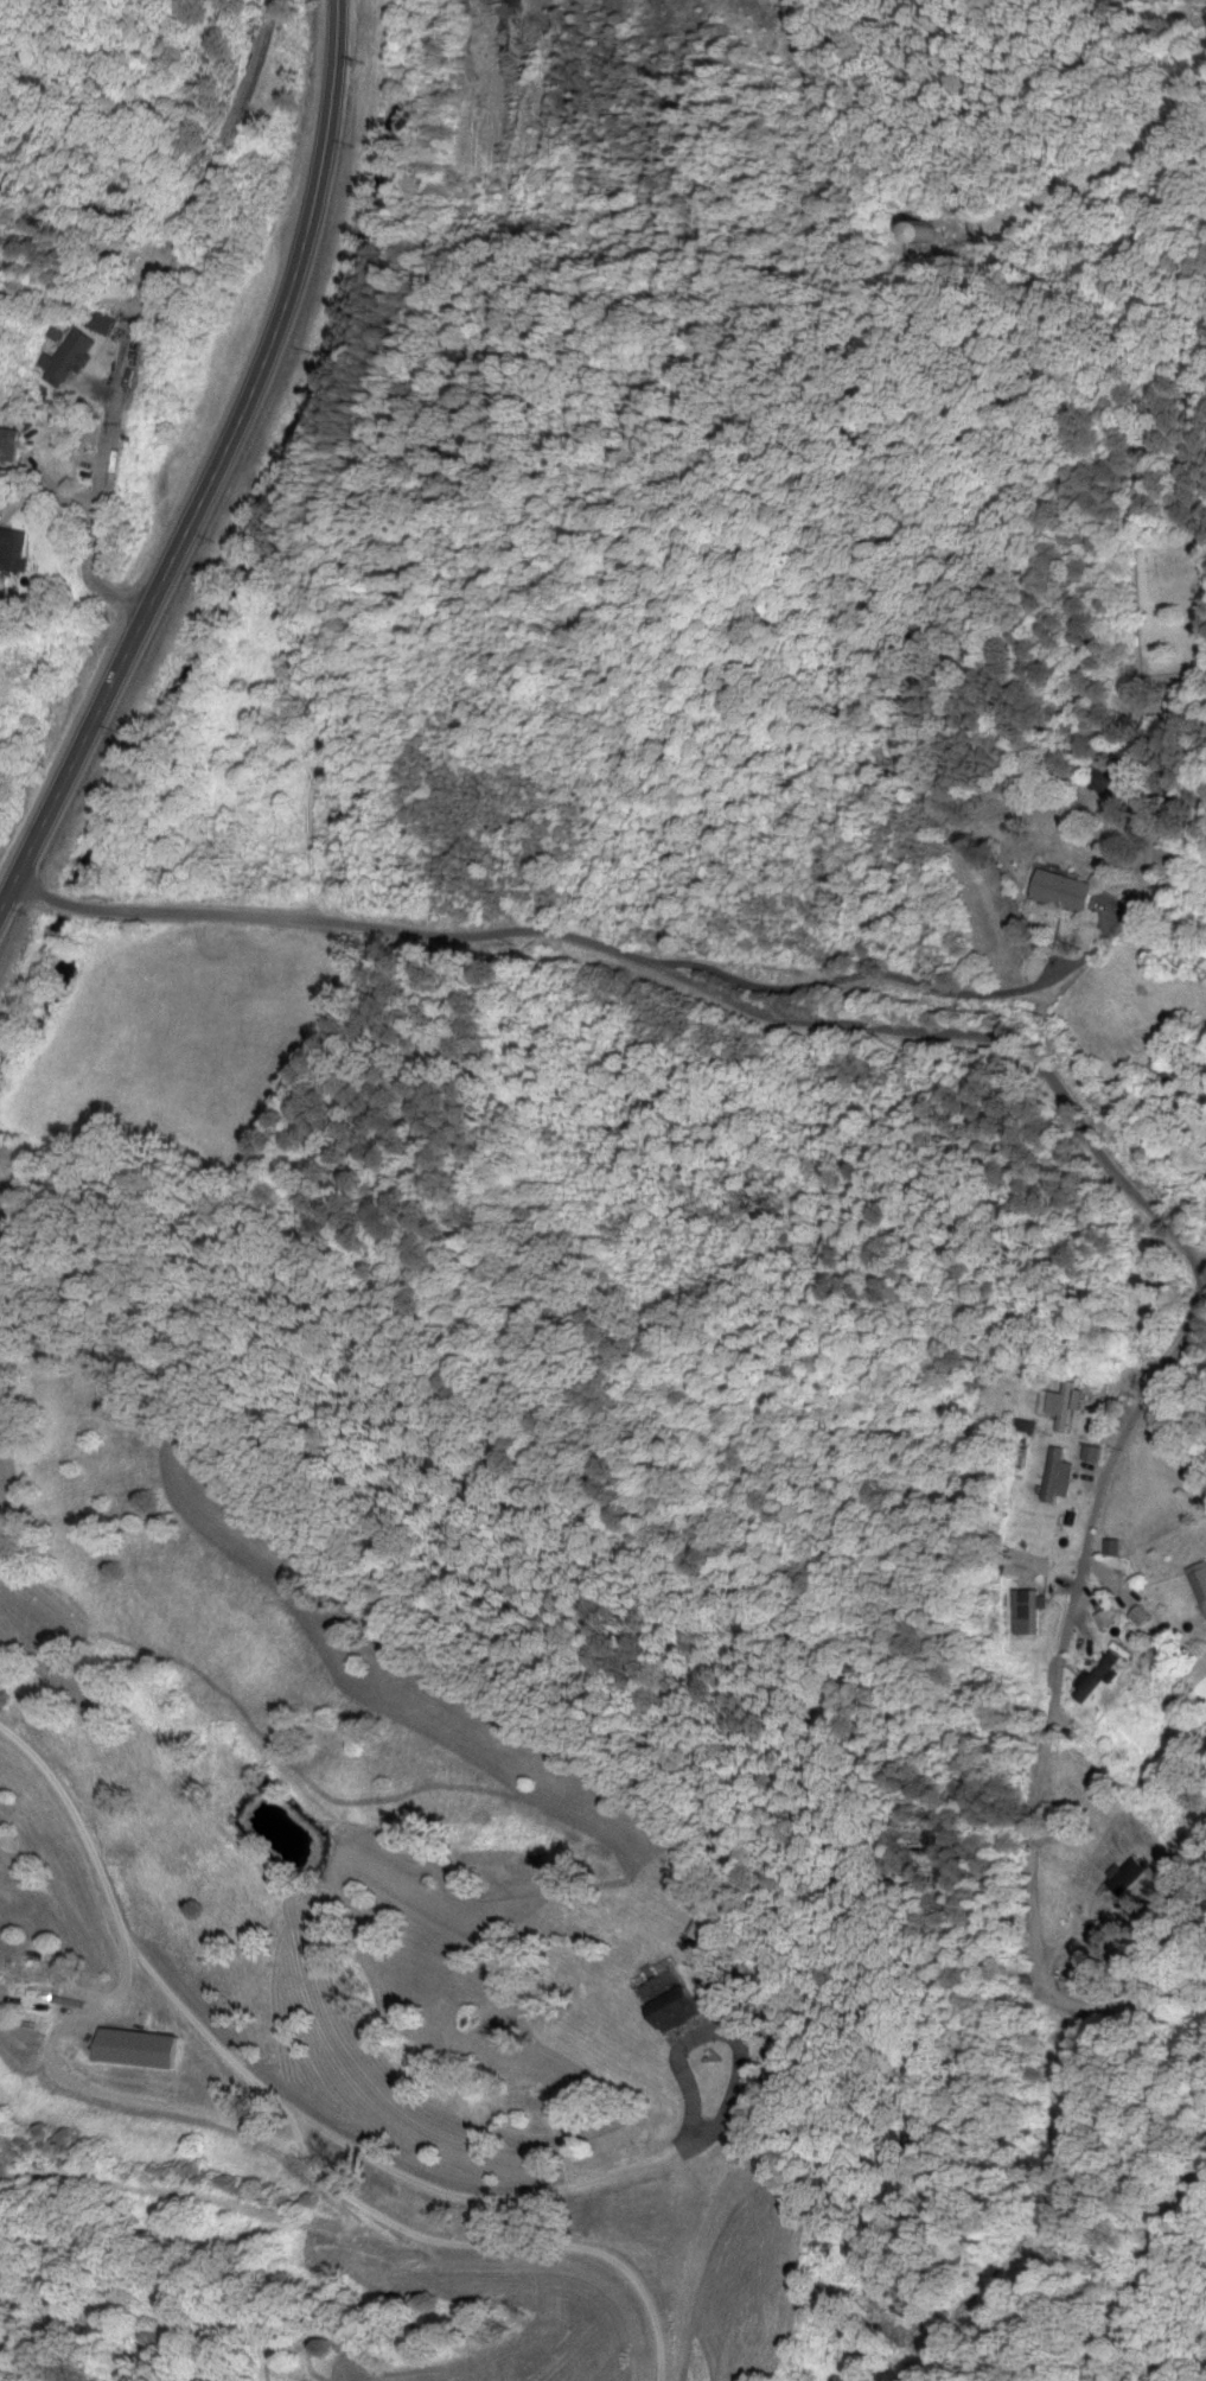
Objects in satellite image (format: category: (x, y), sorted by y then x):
building: (930, 234)
building: (103, 324)
building: (69, 359)
building: (8, 446)
road: (216, 471)
road: (103, 495)
building: (13, 552)
building: (1116, 785)
building: (1065, 891)
road: (864, 976)
road: (1073, 1113)
building: (1068, 1406)
building: (1097, 1454)
building: (1059, 1475)
building: (1200, 1584)
building: (1030, 1613)
building: (1098, 1679)
building: (1124, 1877)
building: (34, 1969)
building: (142, 2049)

